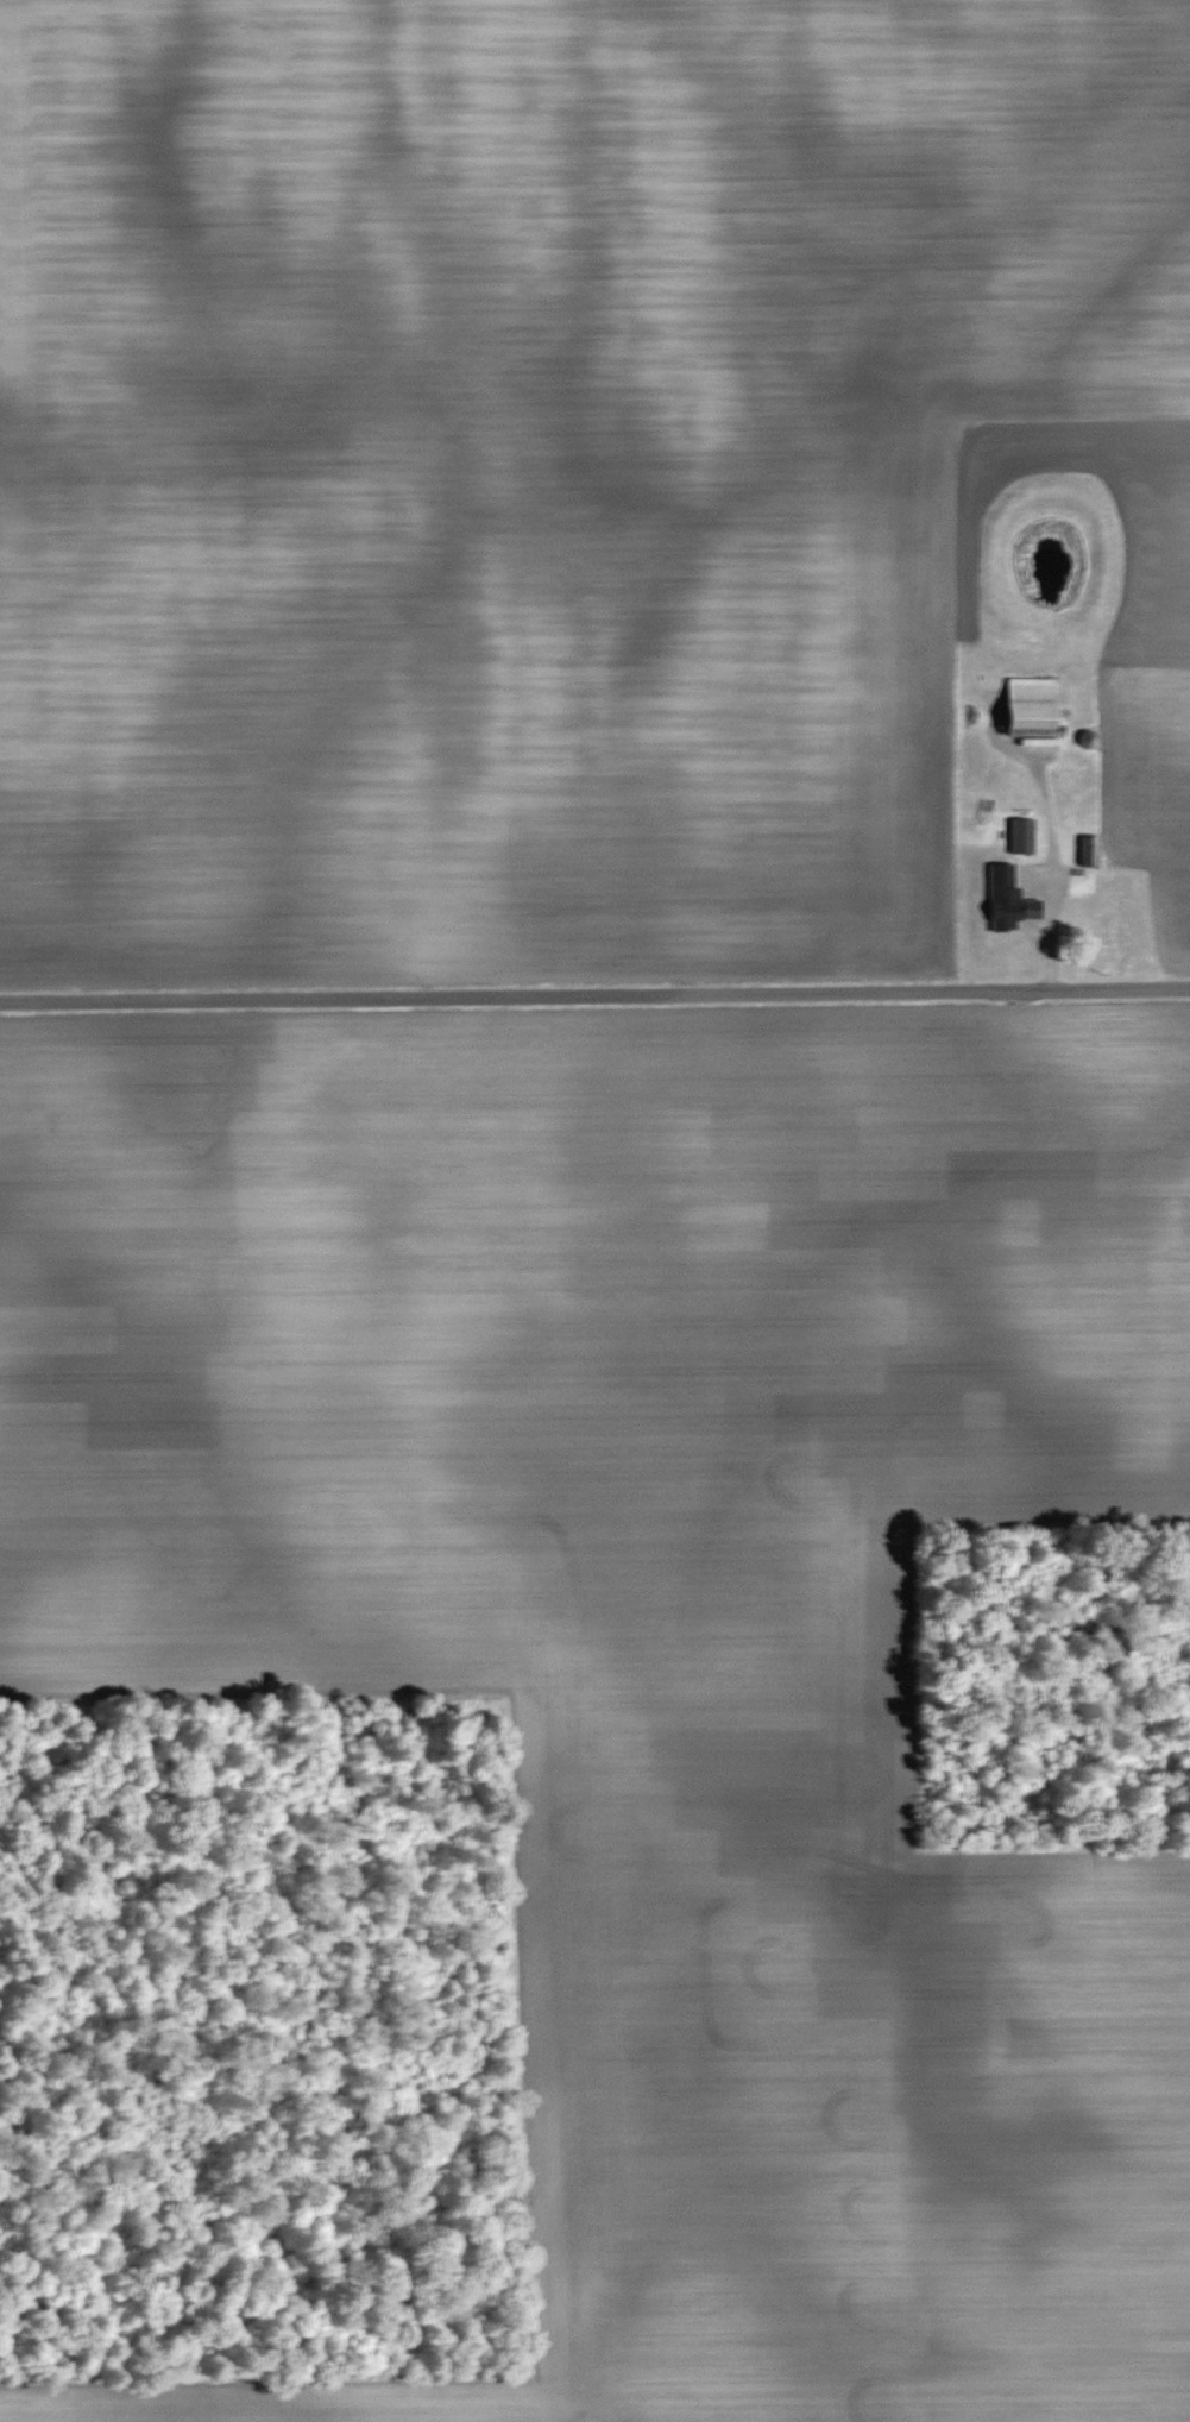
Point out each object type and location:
building: (1027, 706)
building: (1021, 836)
building: (1093, 850)
road: (594, 995)

